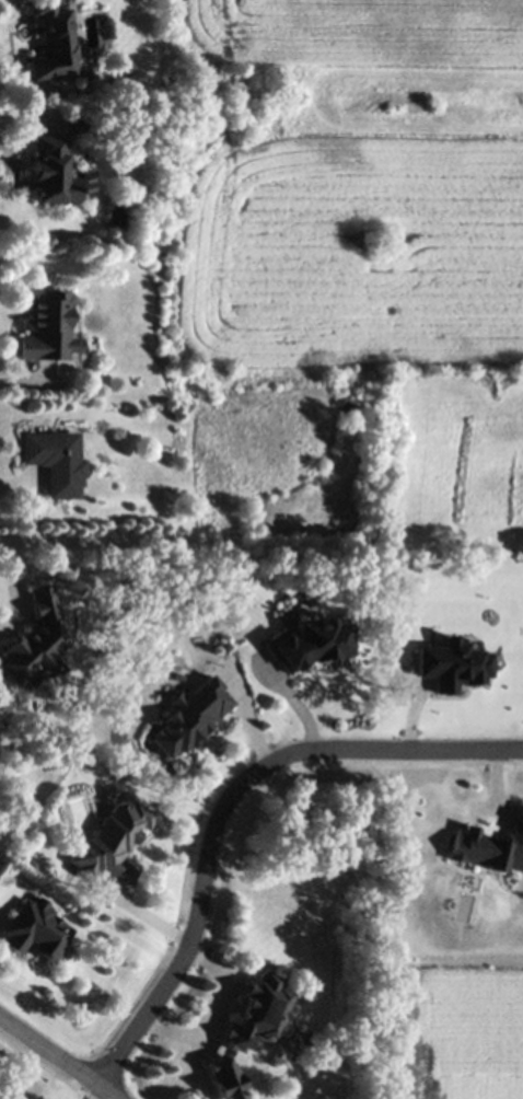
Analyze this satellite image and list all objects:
building: (53, 43)
building: (51, 173)
crop: (350, 184)
building: (47, 331)
park: (246, 432)
building: (51, 456)
building: (188, 714)
road: (434, 748)
building: (109, 840)
road: (202, 887)
building: (32, 928)
building: (246, 1031)
road: (57, 1056)

